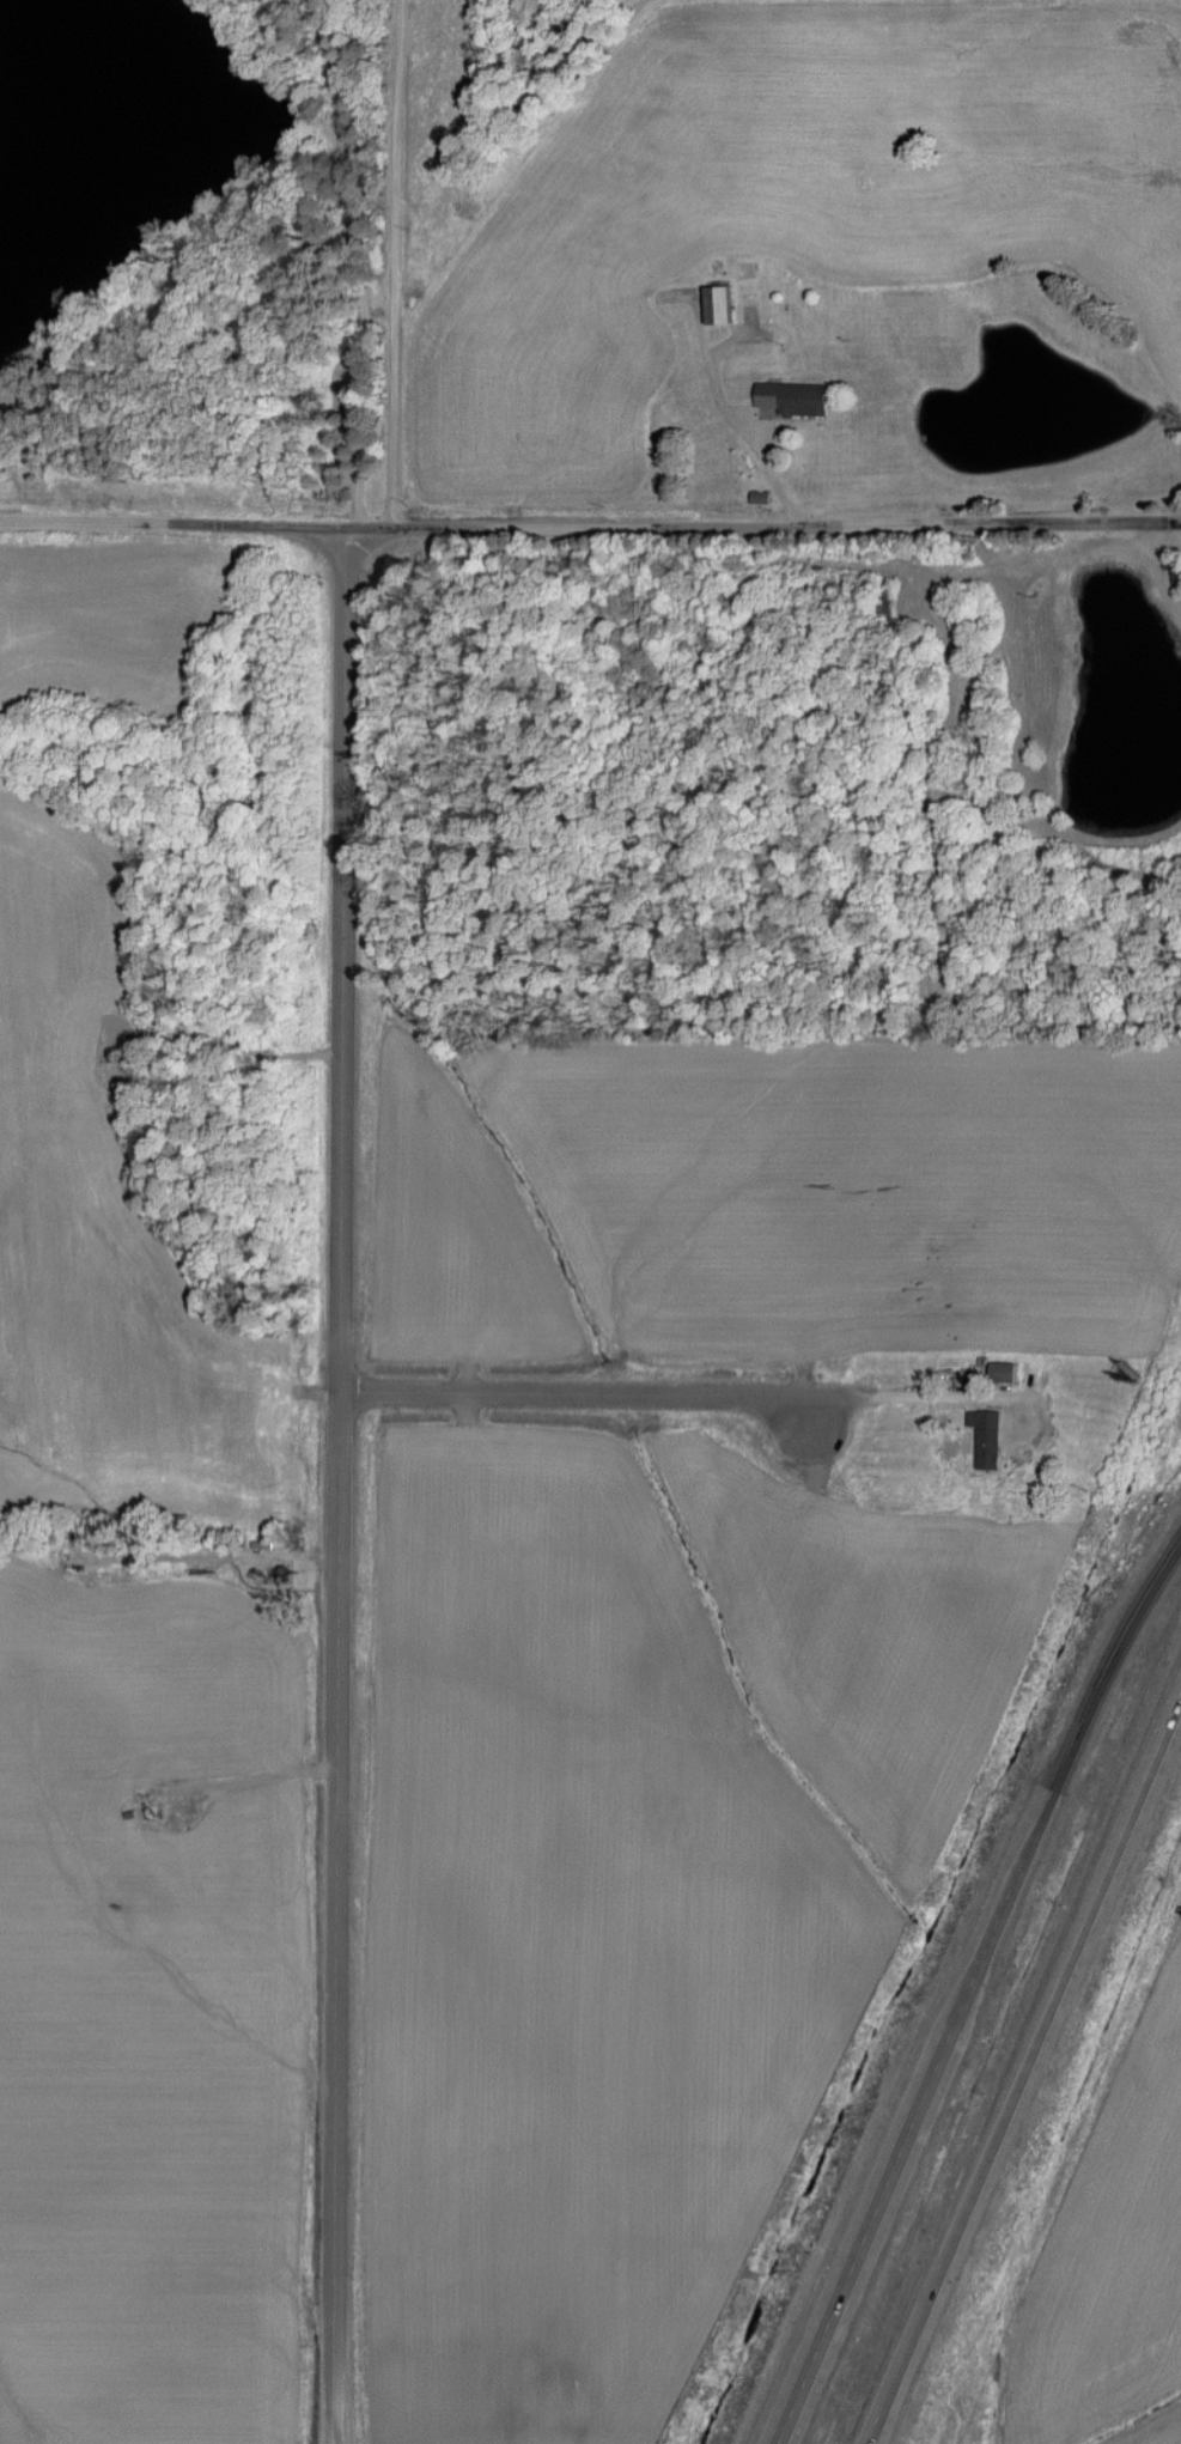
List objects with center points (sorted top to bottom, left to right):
road: (389, 263)
building: (719, 304)
building: (791, 397)
road: (772, 470)
road: (590, 528)
building: (1176, 570)
road: (1157, 576)
building: (1003, 1372)
road: (584, 1393)
road: (890, 1400)
building: (986, 1437)
road: (345, 1485)
road: (1078, 1726)
road: (1034, 2048)
road: (888, 2181)
road: (878, 2421)

